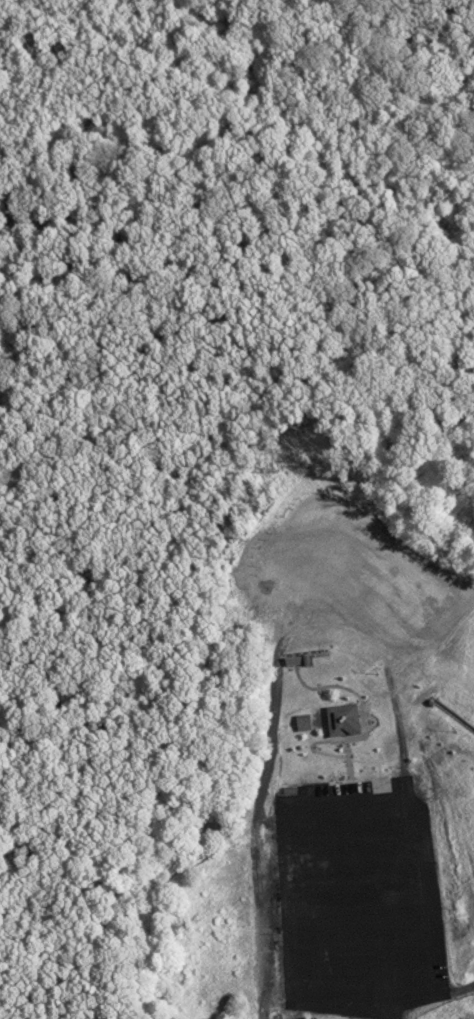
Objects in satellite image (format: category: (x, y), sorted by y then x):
parking lot: (352, 896)
road: (470, 922)
road: (432, 993)

